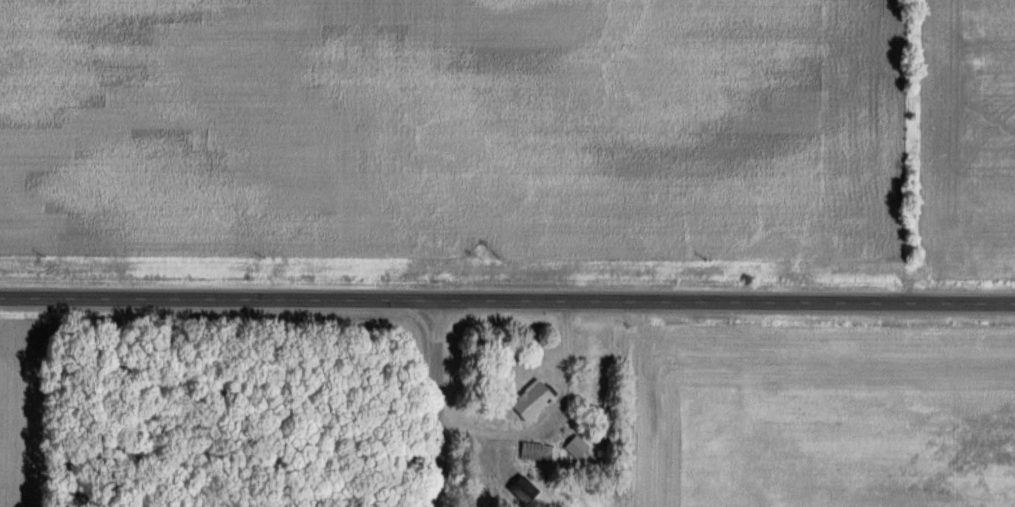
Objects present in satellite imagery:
road: (507, 298)
building: (532, 400)
road: (435, 402)
road: (551, 420)
building: (576, 447)
building: (536, 452)
building: (520, 490)

